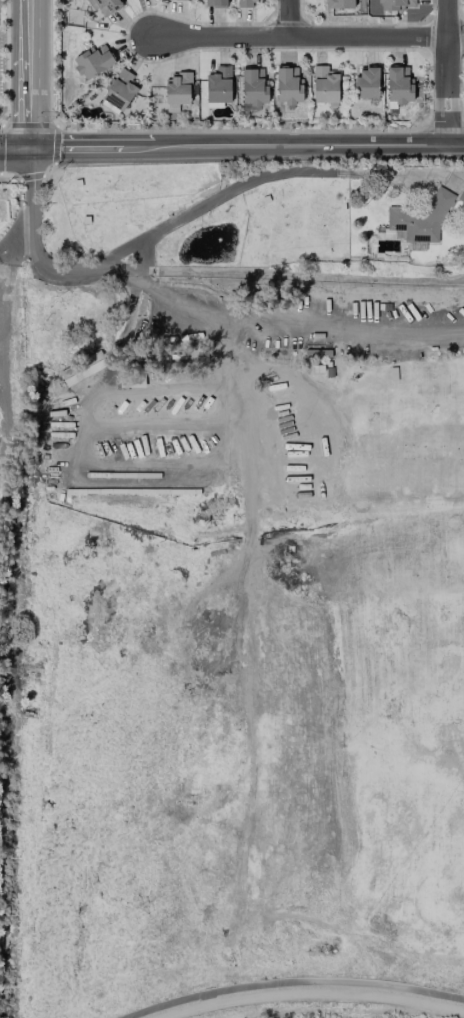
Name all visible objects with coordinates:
building: (169, 0)
building: (215, 3)
building: (245, 3)
building: (339, 4)
building: (396, 5)
building: (105, 6)
road: (291, 18)
road: (309, 35)
building: (93, 61)
road: (448, 72)
road: (30, 74)
building: (367, 83)
building: (219, 85)
building: (288, 85)
building: (324, 85)
building: (399, 85)
building: (254, 86)
building: (178, 89)
building: (119, 92)
road: (246, 145)
road: (15, 148)
traffic signals: (30, 148)
building: (461, 196)
building: (420, 220)
road: (17, 247)
road: (134, 249)
road: (145, 264)
road: (274, 318)
road: (74, 434)
park: (244, 593)
road: (292, 982)

